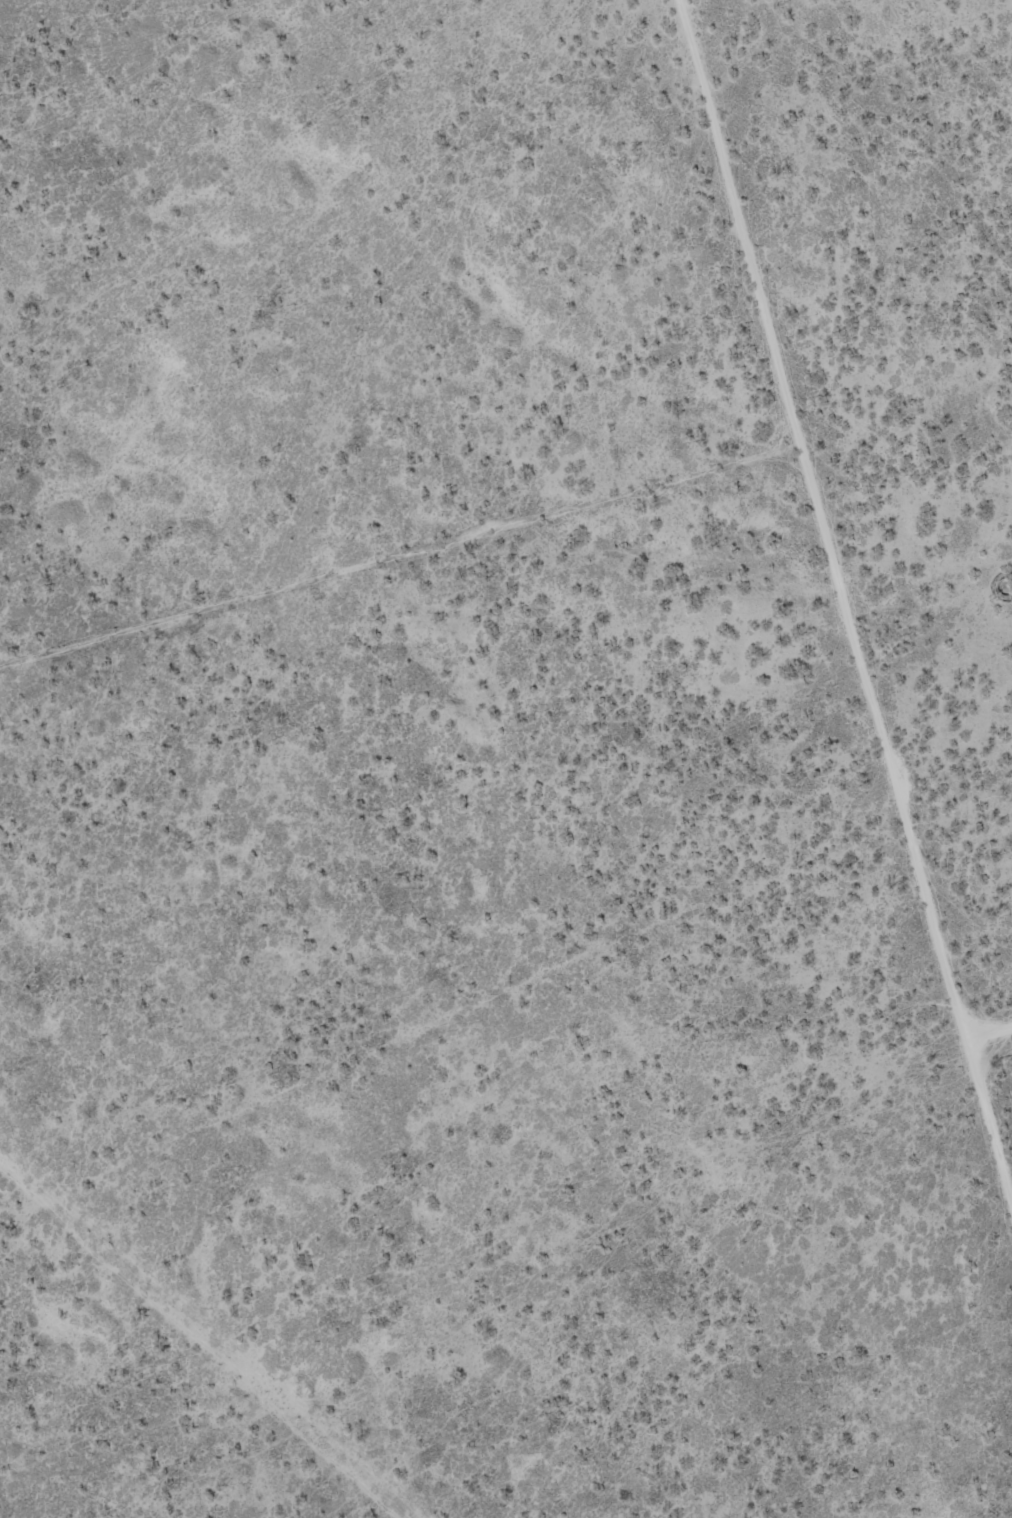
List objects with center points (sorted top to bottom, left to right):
road: (400, 554)
road: (844, 596)
road: (991, 1030)

